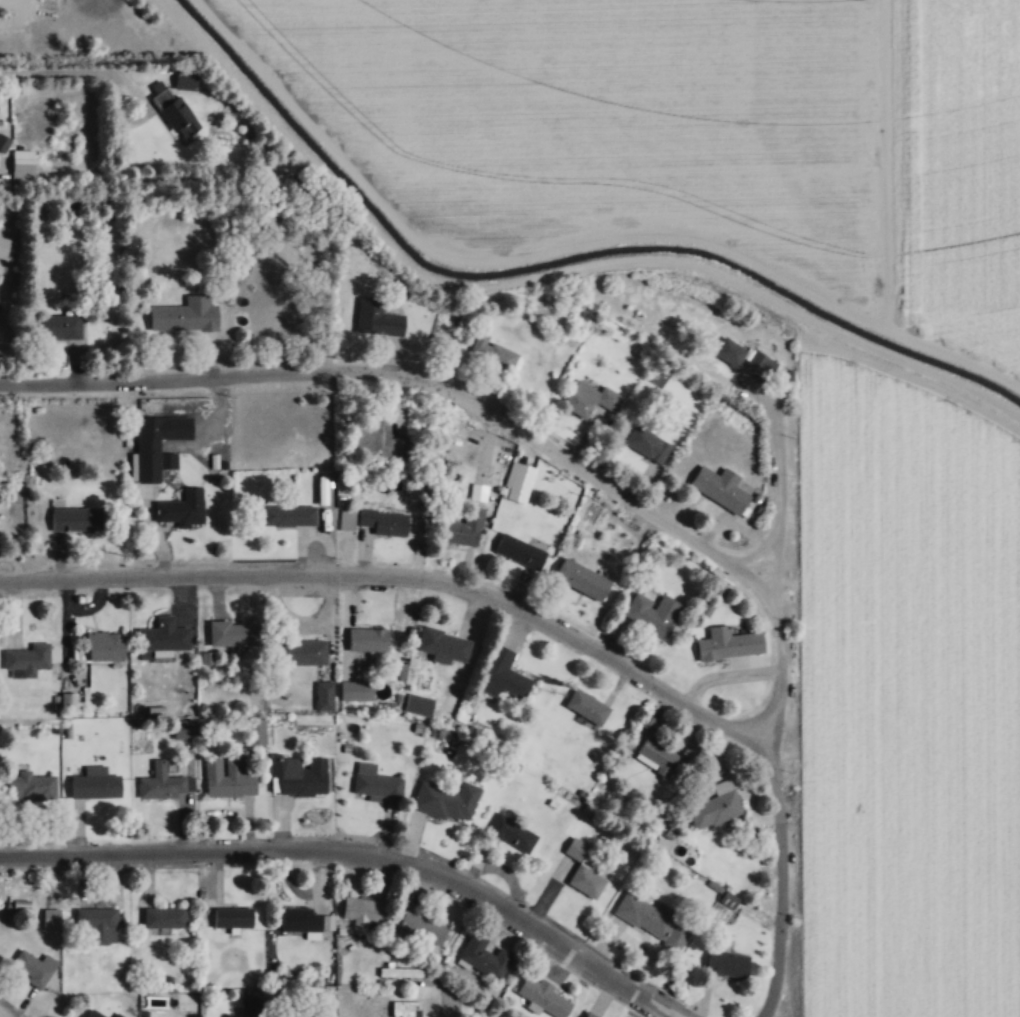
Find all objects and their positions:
road: (57, 74)
road: (143, 94)
building: (174, 111)
building: (8, 145)
road: (572, 244)
building: (3, 245)
road: (421, 273)
building: (184, 315)
building: (377, 318)
building: (60, 327)
building: (729, 351)
building: (491, 353)
road: (899, 356)
building: (761, 362)
road: (406, 377)
building: (590, 398)
building: (378, 440)
building: (647, 443)
building: (152, 458)
building: (519, 476)
road: (785, 486)
building: (720, 487)
building: (184, 507)
building: (288, 514)
building: (75, 518)
building: (383, 521)
building: (463, 529)
building: (520, 550)
road: (406, 577)
building: (582, 578)
building: (652, 612)
building: (234, 633)
building: (164, 635)
building: (367, 639)
building: (722, 643)
building: (105, 645)
building: (442, 646)
building: (307, 651)
building: (27, 660)
building: (506, 681)
building: (351, 690)
building: (324, 695)
building: (68, 700)
building: (418, 704)
building: (587, 706)
building: (664, 757)
building: (229, 777)
building: (298, 777)
road: (781, 781)
building: (163, 782)
building: (95, 783)
building: (33, 785)
building: (377, 785)
building: (447, 801)
building: (715, 806)
building: (513, 833)
road: (359, 853)
building: (579, 869)
building: (364, 910)
building: (51, 917)
building: (164, 917)
building: (232, 917)
building: (306, 919)
building: (653, 919)
building: (99, 923)
building: (420, 924)
building: (484, 956)
building: (727, 963)
building: (34, 967)
building: (545, 997)
road: (454, 1003)
building: (252, 1005)
building: (407, 1008)
road: (5, 1012)
building: (478, 1012)
building: (94, 1014)
building: (589, 1014)
building: (117, 1015)

